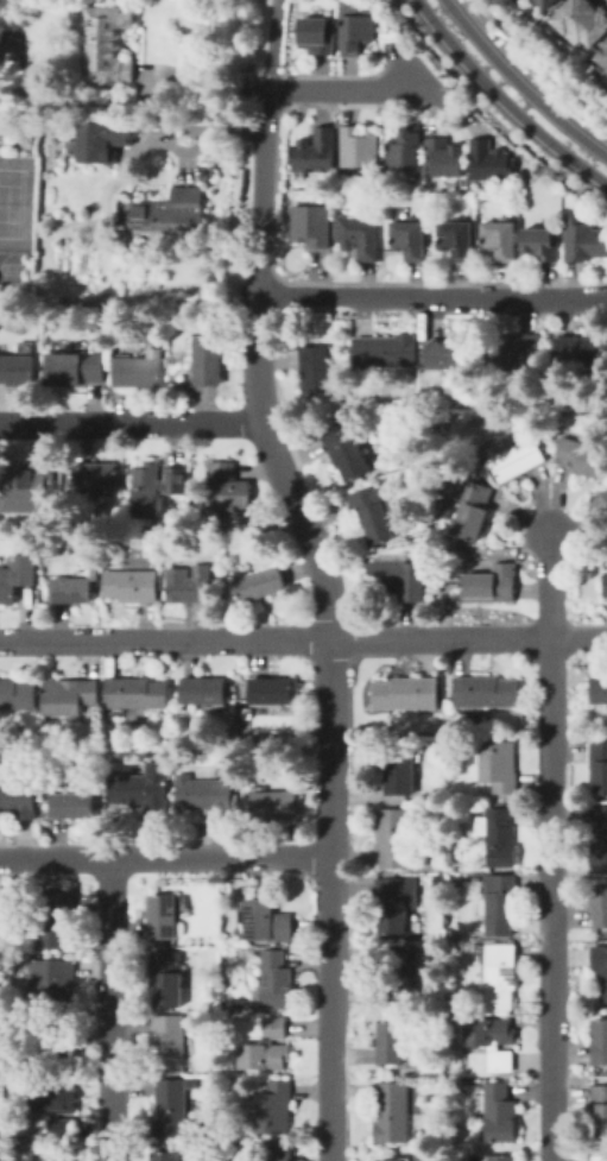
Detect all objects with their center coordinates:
building: (545, 2)
building: (583, 23)
building: (356, 32)
building: (318, 33)
building: (109, 45)
road: (274, 45)
park: (11, 48)
building: (603, 56)
road: (418, 75)
road: (202, 81)
road: (519, 83)
road: (462, 89)
road: (342, 90)
road: (502, 100)
building: (105, 140)
building: (360, 147)
building: (407, 150)
building: (316, 152)
building: (445, 158)
building: (488, 160)
road: (259, 195)
park: (10, 201)
building: (171, 213)
building: (311, 225)
building: (359, 236)
building: (411, 236)
building: (457, 238)
building: (500, 238)
building: (584, 240)
building: (542, 242)
park: (13, 269)
road: (431, 296)
building: (386, 348)
building: (514, 351)
building: (578, 351)
building: (448, 355)
building: (209, 362)
building: (316, 367)
building: (77, 368)
building: (17, 371)
building: (139, 371)
road: (131, 422)
building: (346, 453)
building: (580, 455)
building: (518, 461)
building: (100, 477)
building: (152, 487)
building: (228, 488)
building: (23, 490)
building: (606, 497)
building: (475, 510)
building: (374, 513)
building: (99, 570)
building: (18, 576)
building: (399, 576)
building: (261, 582)
building: (606, 583)
building: (132, 585)
building: (192, 585)
building: (491, 585)
building: (75, 587)
road: (303, 639)
building: (206, 690)
building: (273, 690)
building: (487, 690)
building: (599, 690)
building: (140, 693)
building: (404, 693)
building: (18, 695)
building: (70, 696)
road: (330, 721)
building: (498, 764)
building: (599, 765)
building: (399, 774)
building: (143, 791)
building: (207, 795)
building: (19, 800)
building: (77, 802)
building: (274, 805)
building: (498, 837)
building: (600, 838)
building: (392, 839)
road: (549, 846)
road: (164, 854)
building: (429, 859)
building: (600, 903)
building: (393, 904)
building: (499, 907)
building: (165, 917)
building: (58, 920)
building: (266, 922)
building: (401, 971)
building: (601, 973)
building: (502, 977)
building: (170, 979)
building: (277, 979)
building: (57, 983)
road: (108, 1008)
building: (492, 1041)
building: (392, 1042)
building: (600, 1042)
building: (172, 1045)
building: (267, 1047)
building: (57, 1050)
building: (195, 1081)
building: (461, 1084)
building: (58, 1109)
building: (599, 1110)
building: (173, 1111)
building: (393, 1111)
building: (273, 1112)
building: (498, 1112)
building: (274, 1153)
building: (167, 1156)
building: (599, 1157)
building: (59, 1159)
building: (499, 1159)
building: (388, 1160)

